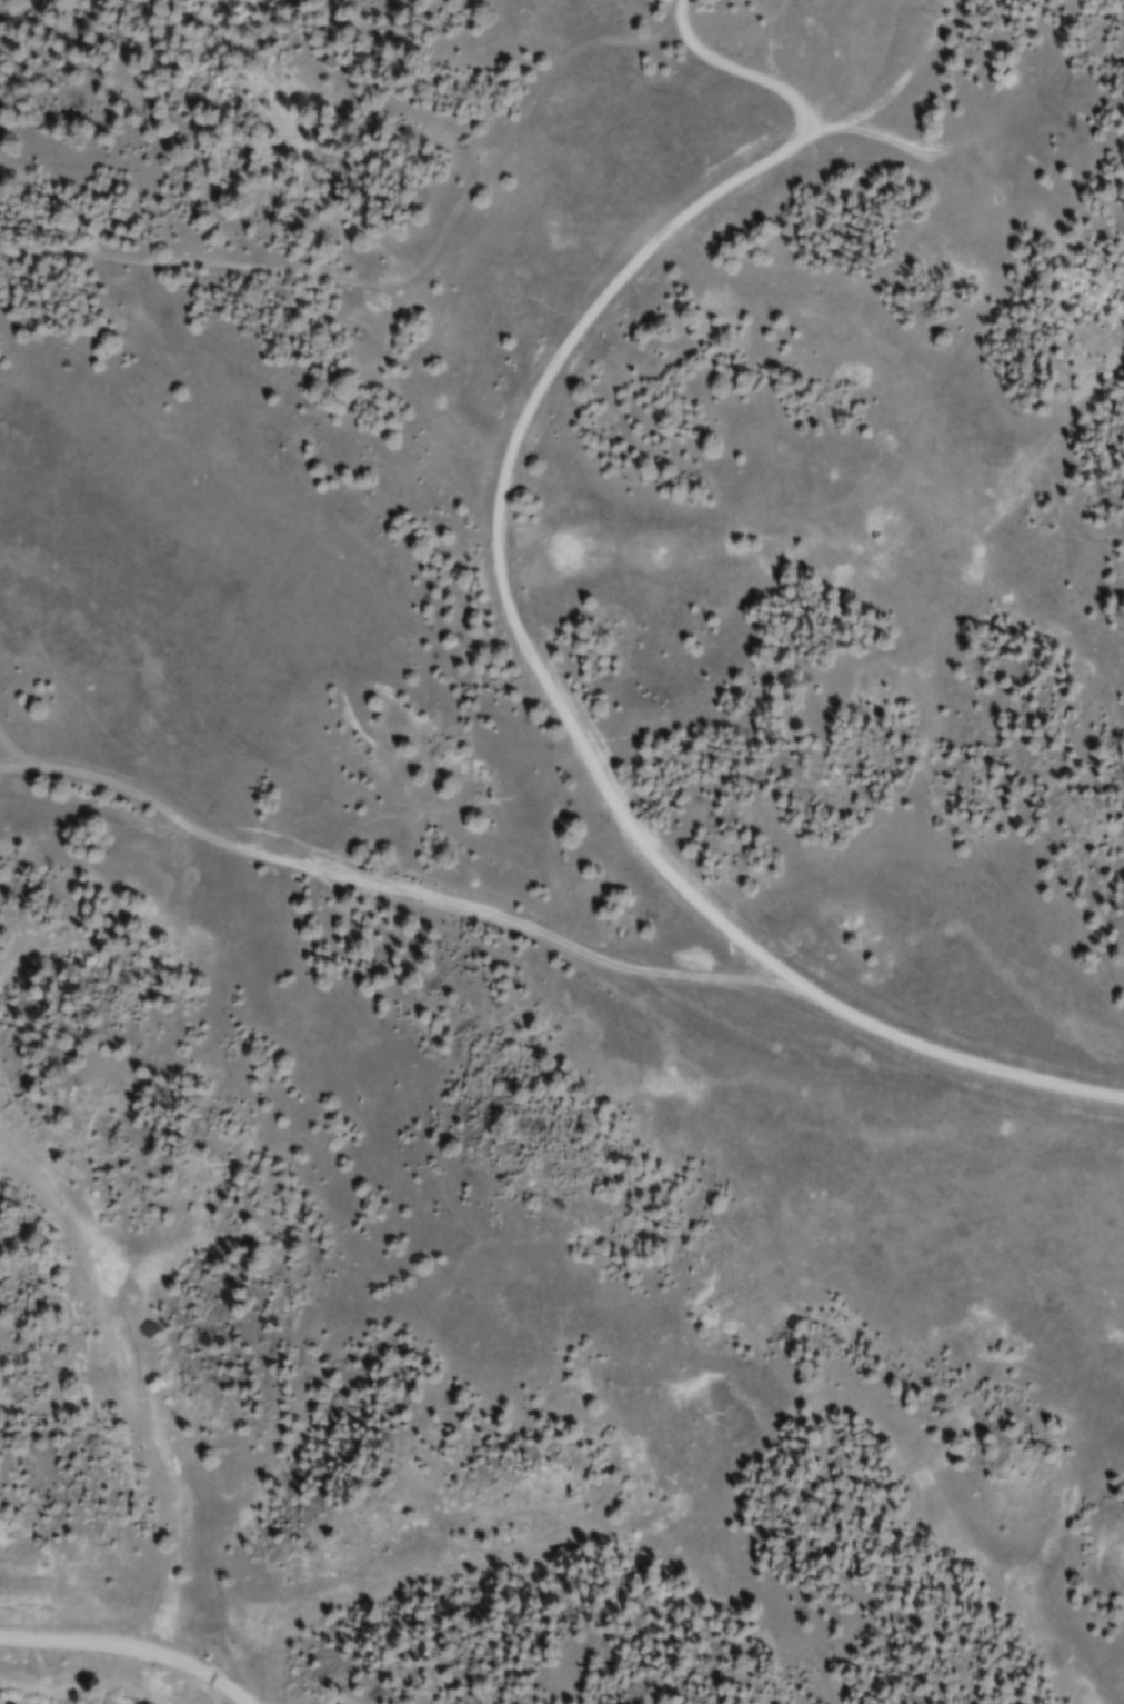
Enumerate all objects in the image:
road: (403, 280)
road: (515, 619)
road: (532, 931)
road: (131, 1642)

